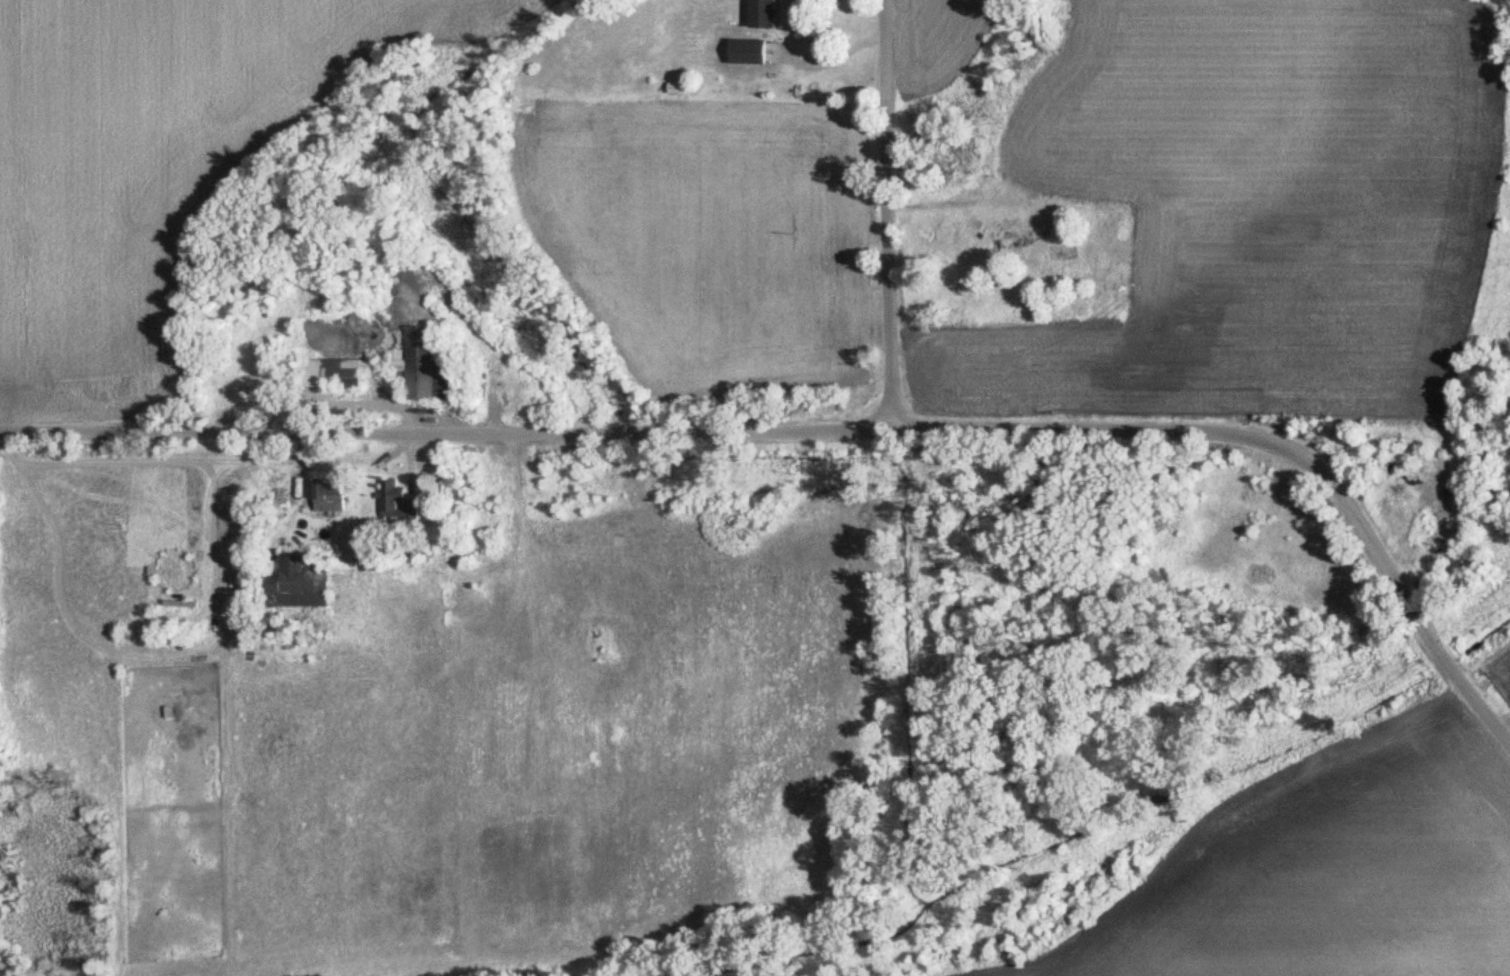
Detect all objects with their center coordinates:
building: (764, 14)
building: (749, 52)
road: (828, 58)
road: (887, 212)
building: (1001, 241)
building: (396, 369)
road: (447, 431)
road: (1280, 436)
building: (331, 497)
building: (390, 500)
building: (448, 534)
building: (296, 586)

